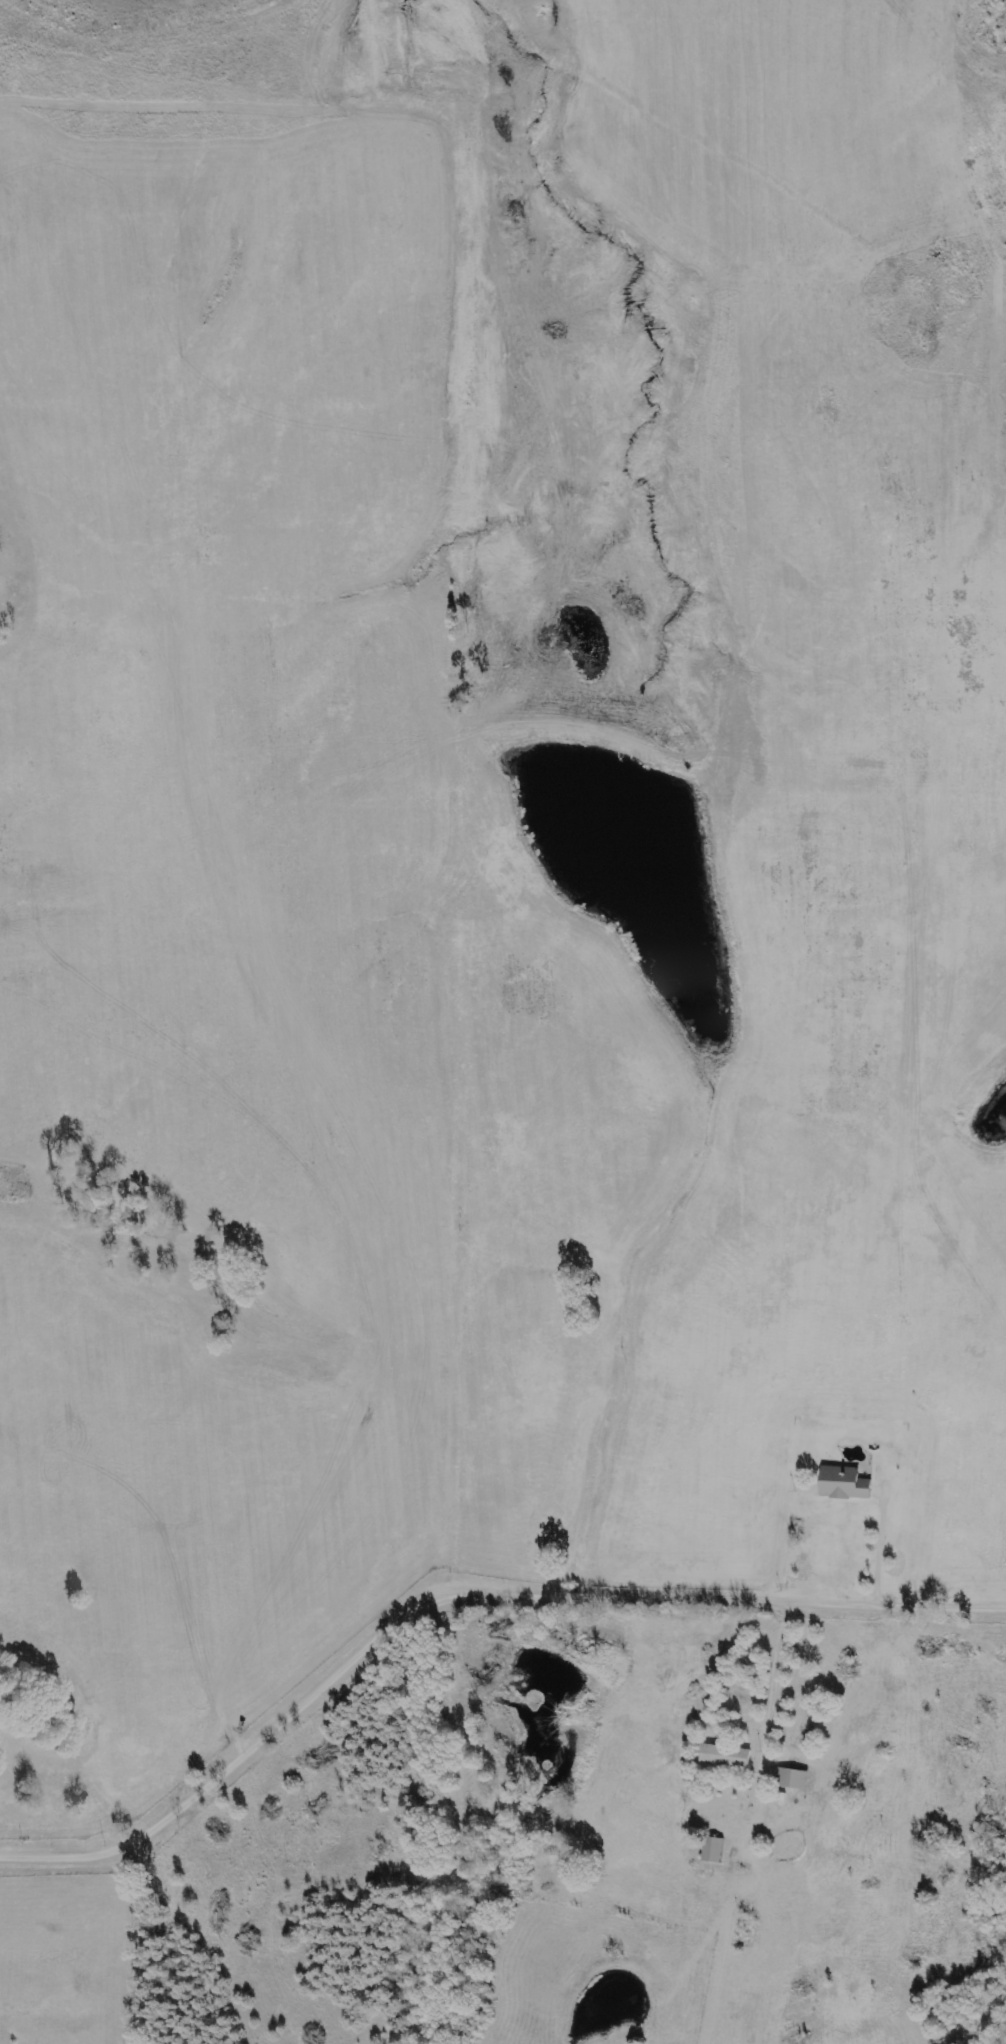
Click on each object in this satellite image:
road: (452, 1576)
building: (727, 1755)
building: (794, 1777)
building: (714, 1849)

